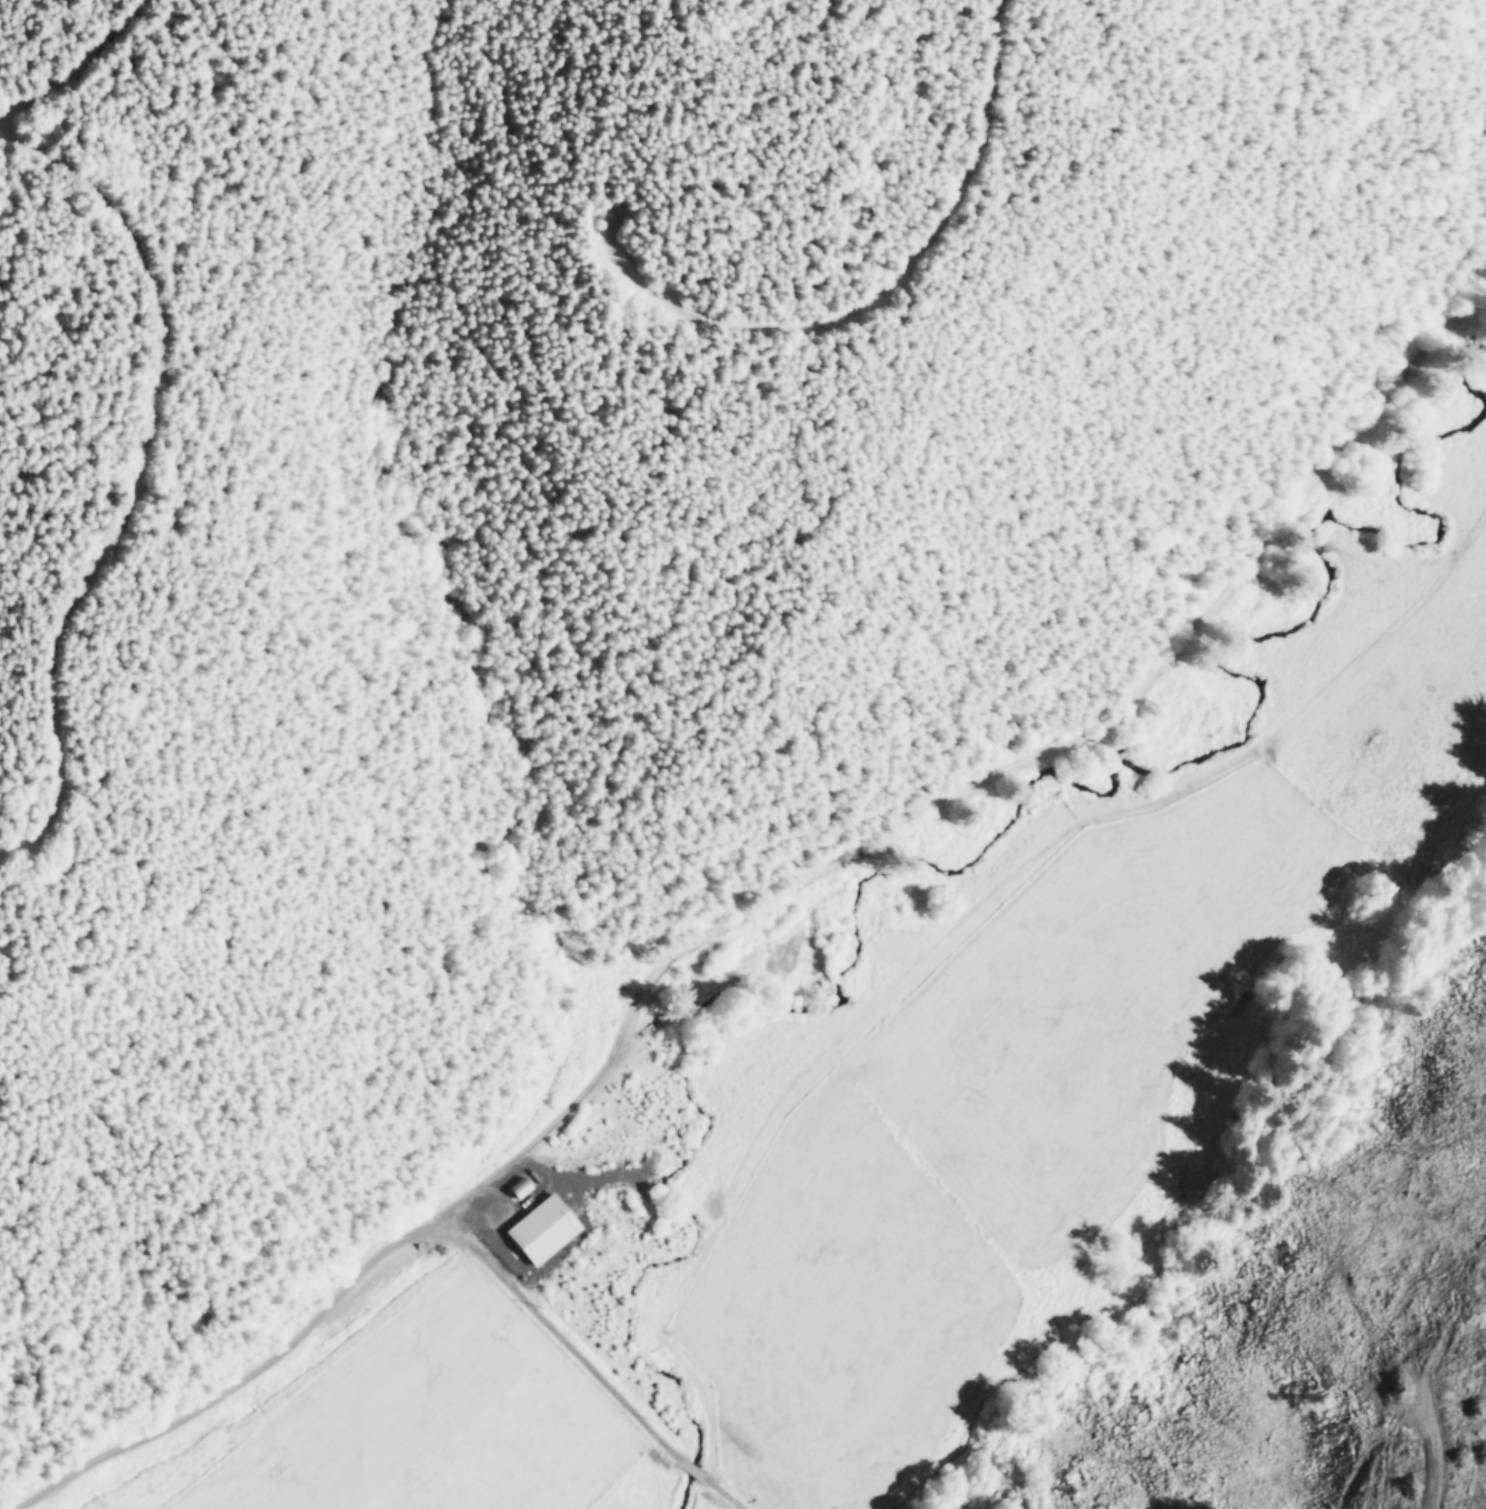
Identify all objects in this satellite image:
road: (92, 47)
road: (945, 191)
road: (165, 486)
road: (776, 860)
crop: (942, 1058)
building: (520, 1185)
building: (541, 1227)
road: (599, 1366)
building: (957, 1506)

